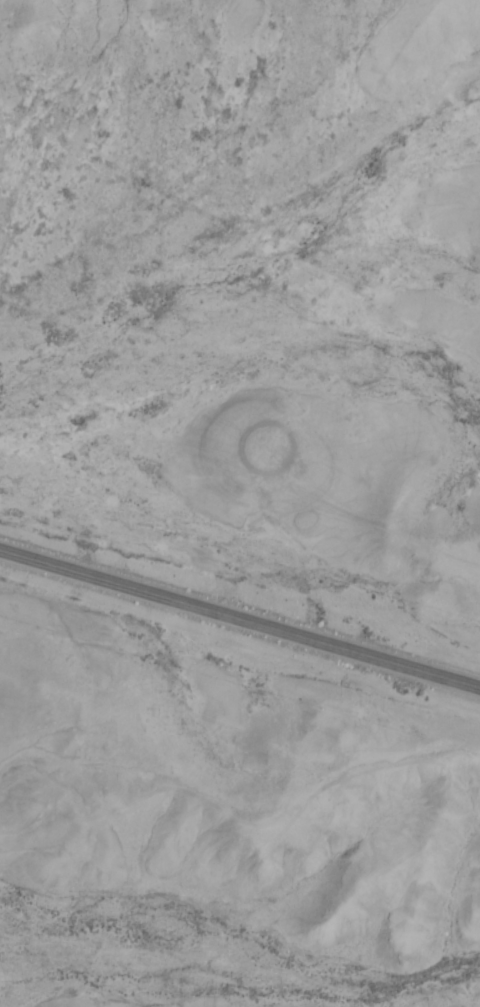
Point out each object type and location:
road: (240, 619)
road: (17, 1002)

